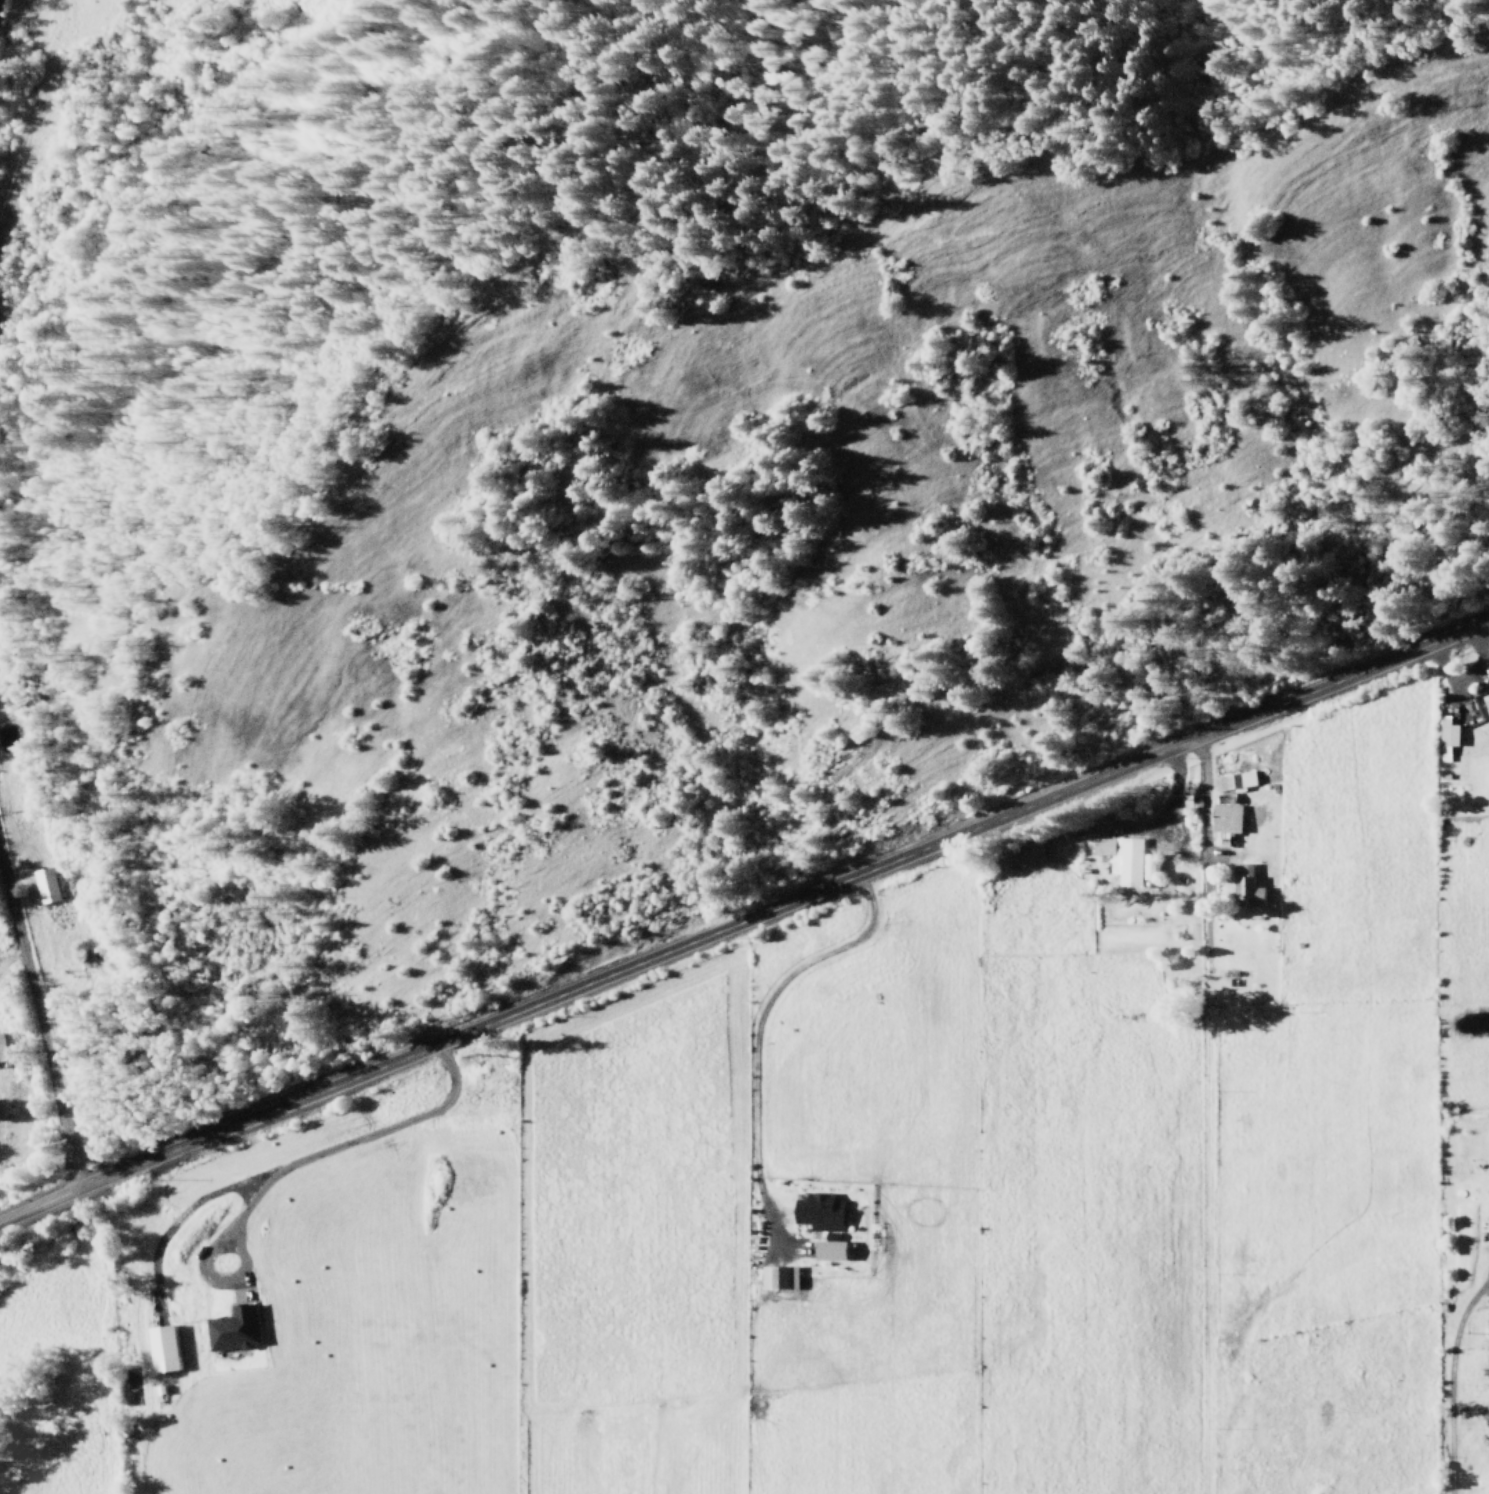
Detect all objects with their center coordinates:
building: (1486, 683)
building: (1446, 737)
building: (1232, 780)
building: (1223, 822)
building: (1023, 855)
building: (1125, 858)
building: (44, 884)
building: (1244, 886)
road: (743, 917)
road: (38, 1025)
building: (1, 1051)
building: (1488, 1201)
building: (817, 1211)
building: (777, 1277)
building: (232, 1329)
building: (160, 1349)

